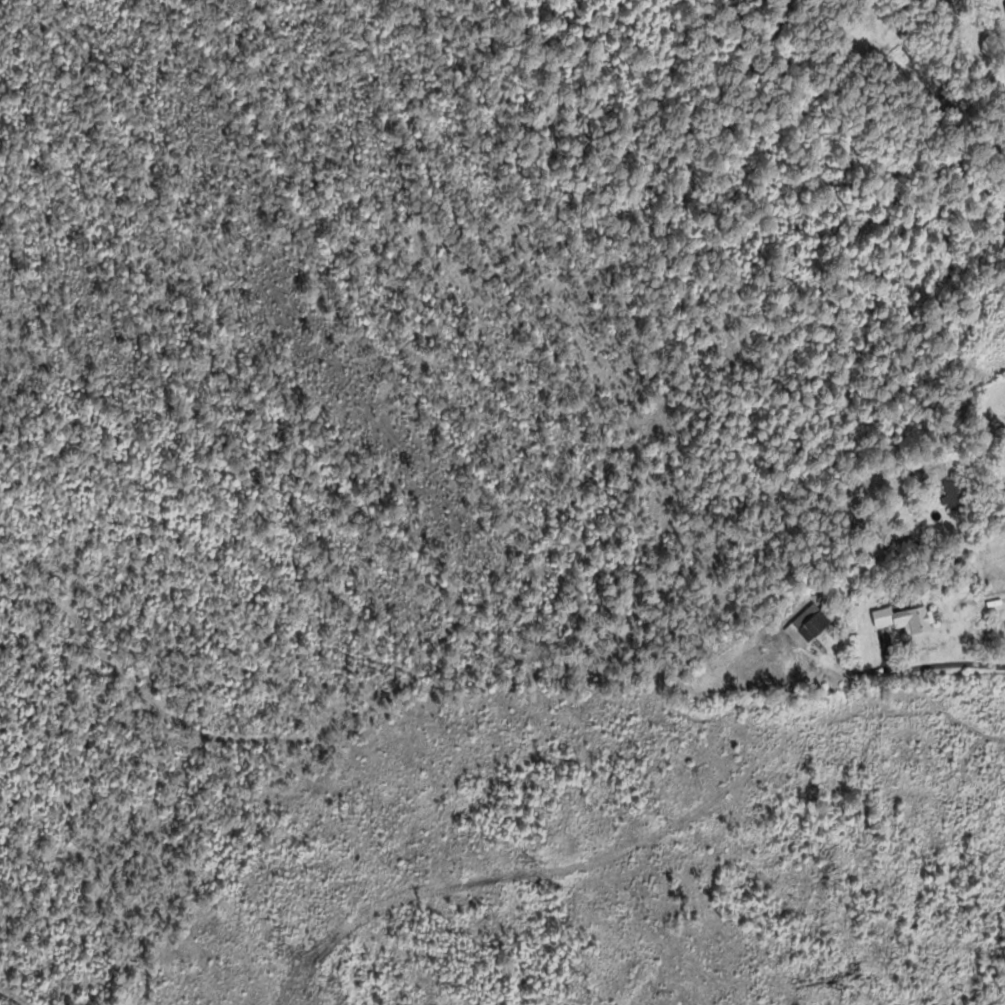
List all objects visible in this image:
building: (947, 8)
road: (988, 450)
building: (957, 493)
building: (905, 618)
building: (808, 625)

